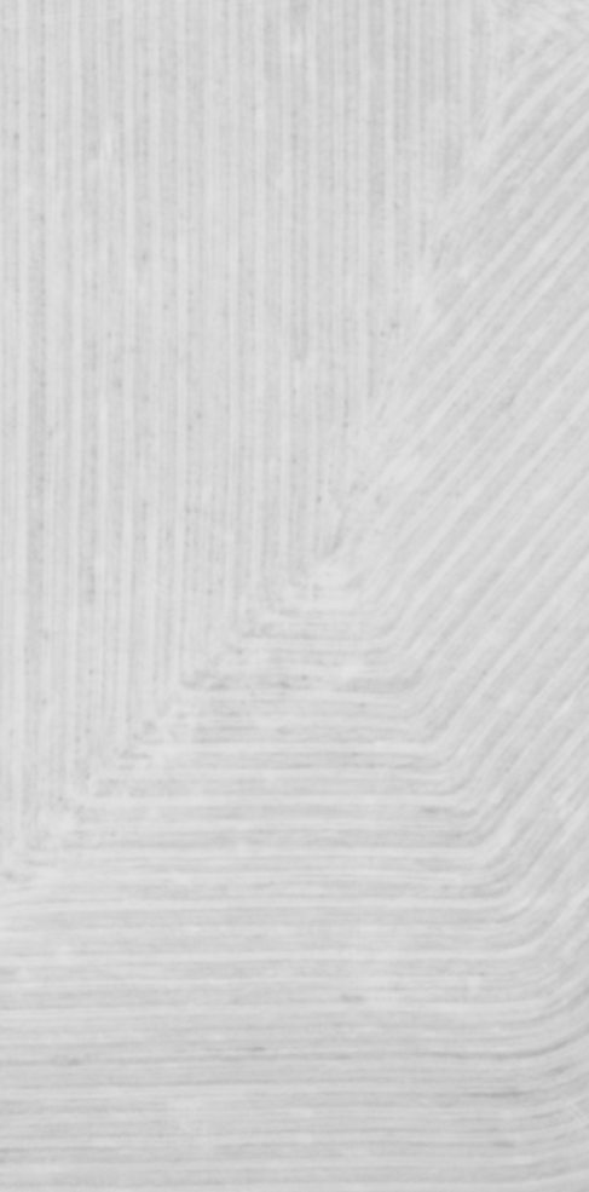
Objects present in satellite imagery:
crop: (294, 595)

